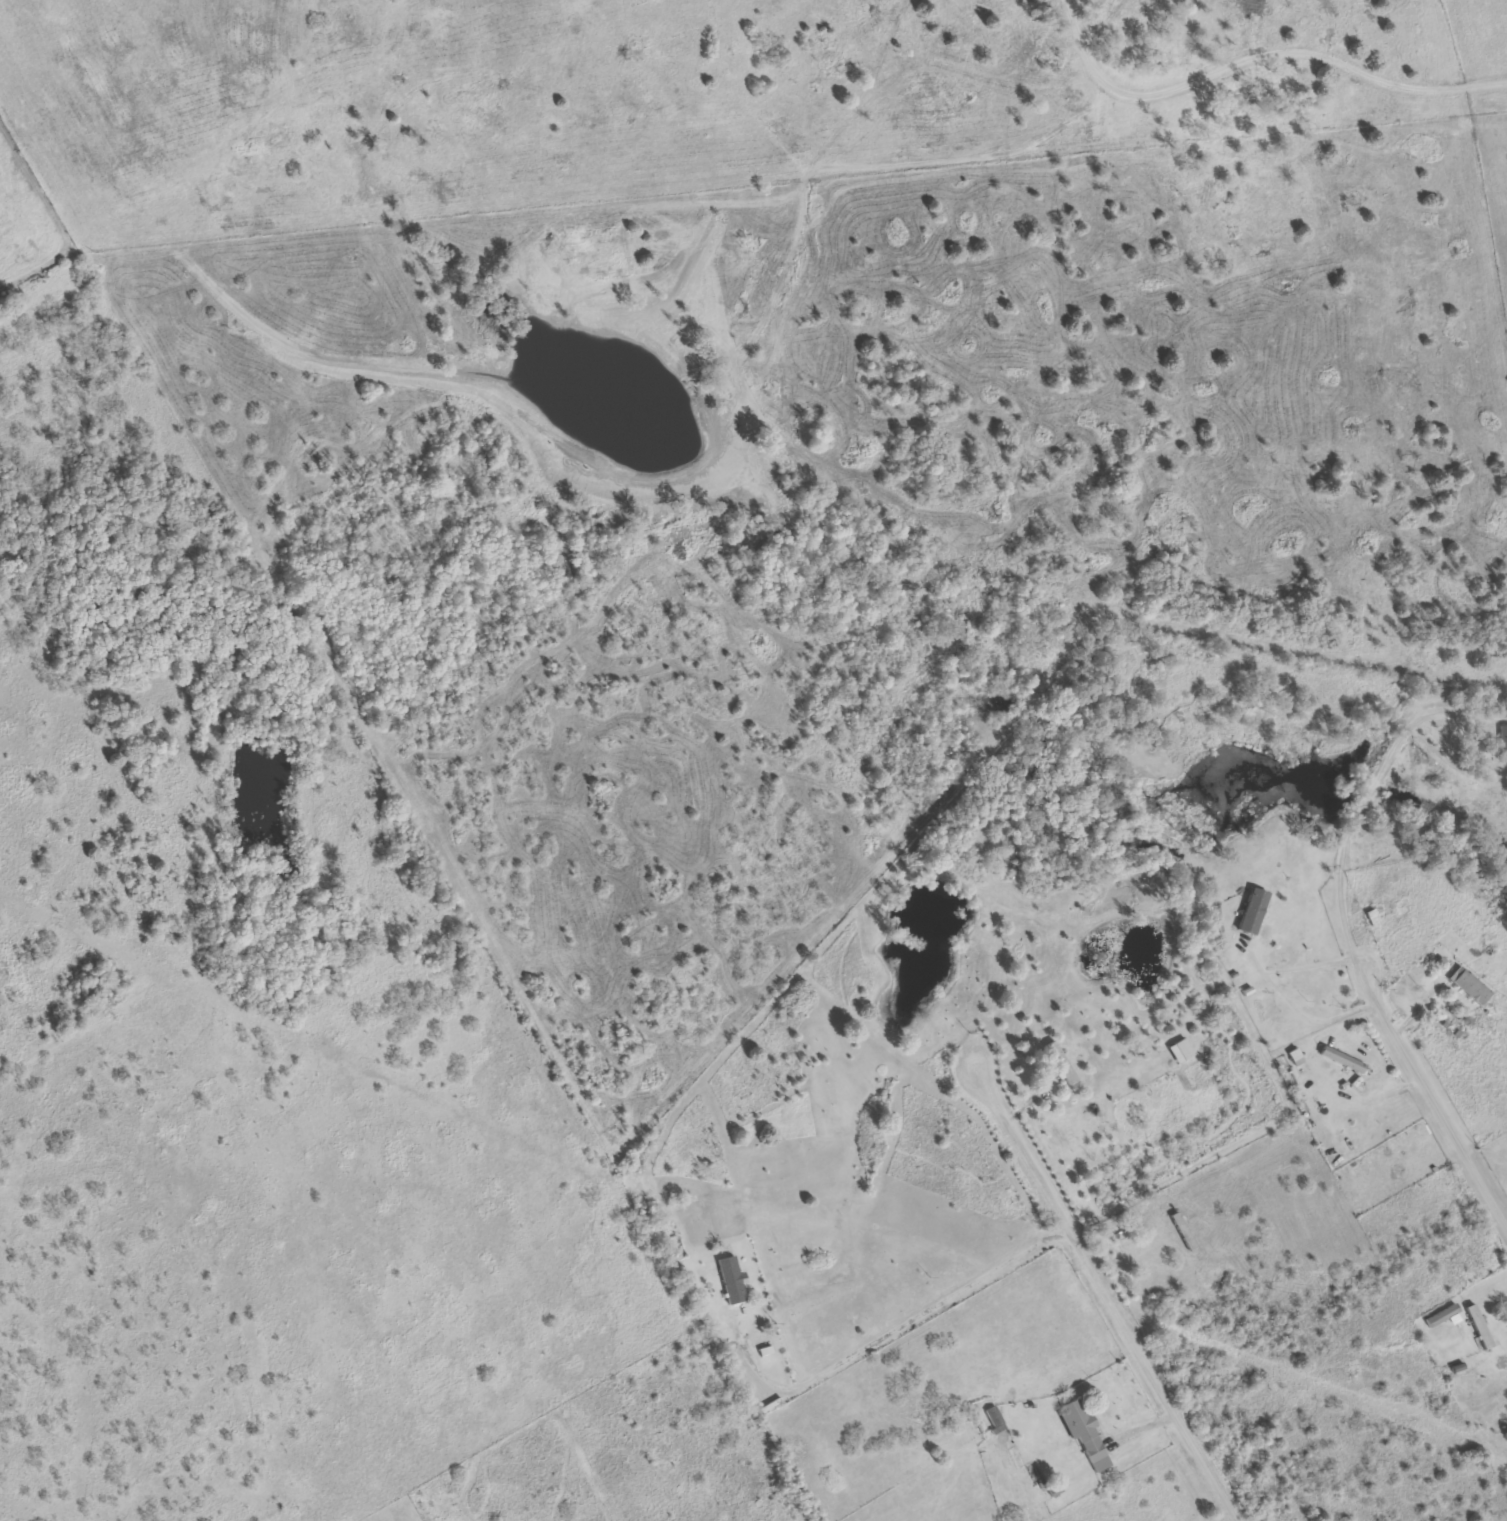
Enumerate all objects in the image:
road: (1082, 47)
building: (1504, 743)
building: (1253, 911)
road: (1344, 932)
building: (1471, 988)
building: (1184, 1051)
building: (1299, 1057)
building: (1343, 1059)
building: (1061, 1063)
road: (1096, 1280)
building: (727, 1283)
building: (1482, 1327)
building: (995, 1417)
building: (1086, 1435)

